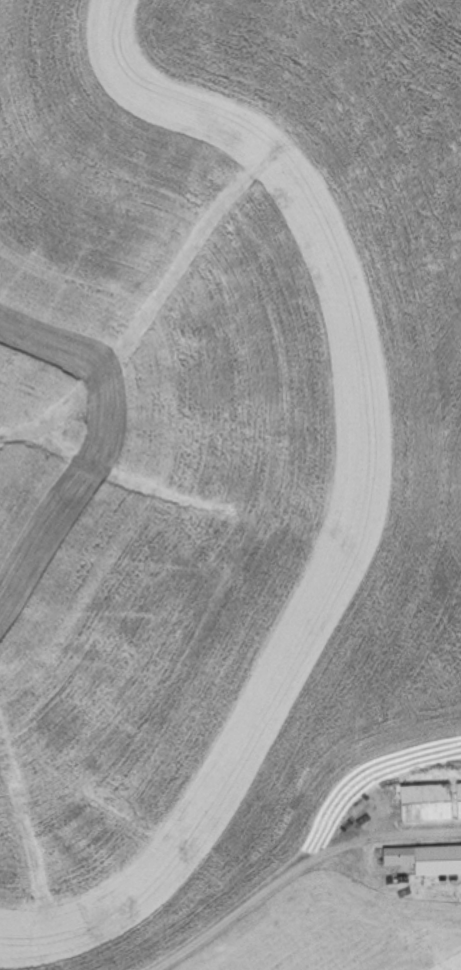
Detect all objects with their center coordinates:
building: (456, 800)
building: (421, 803)
building: (424, 859)
road: (293, 867)

